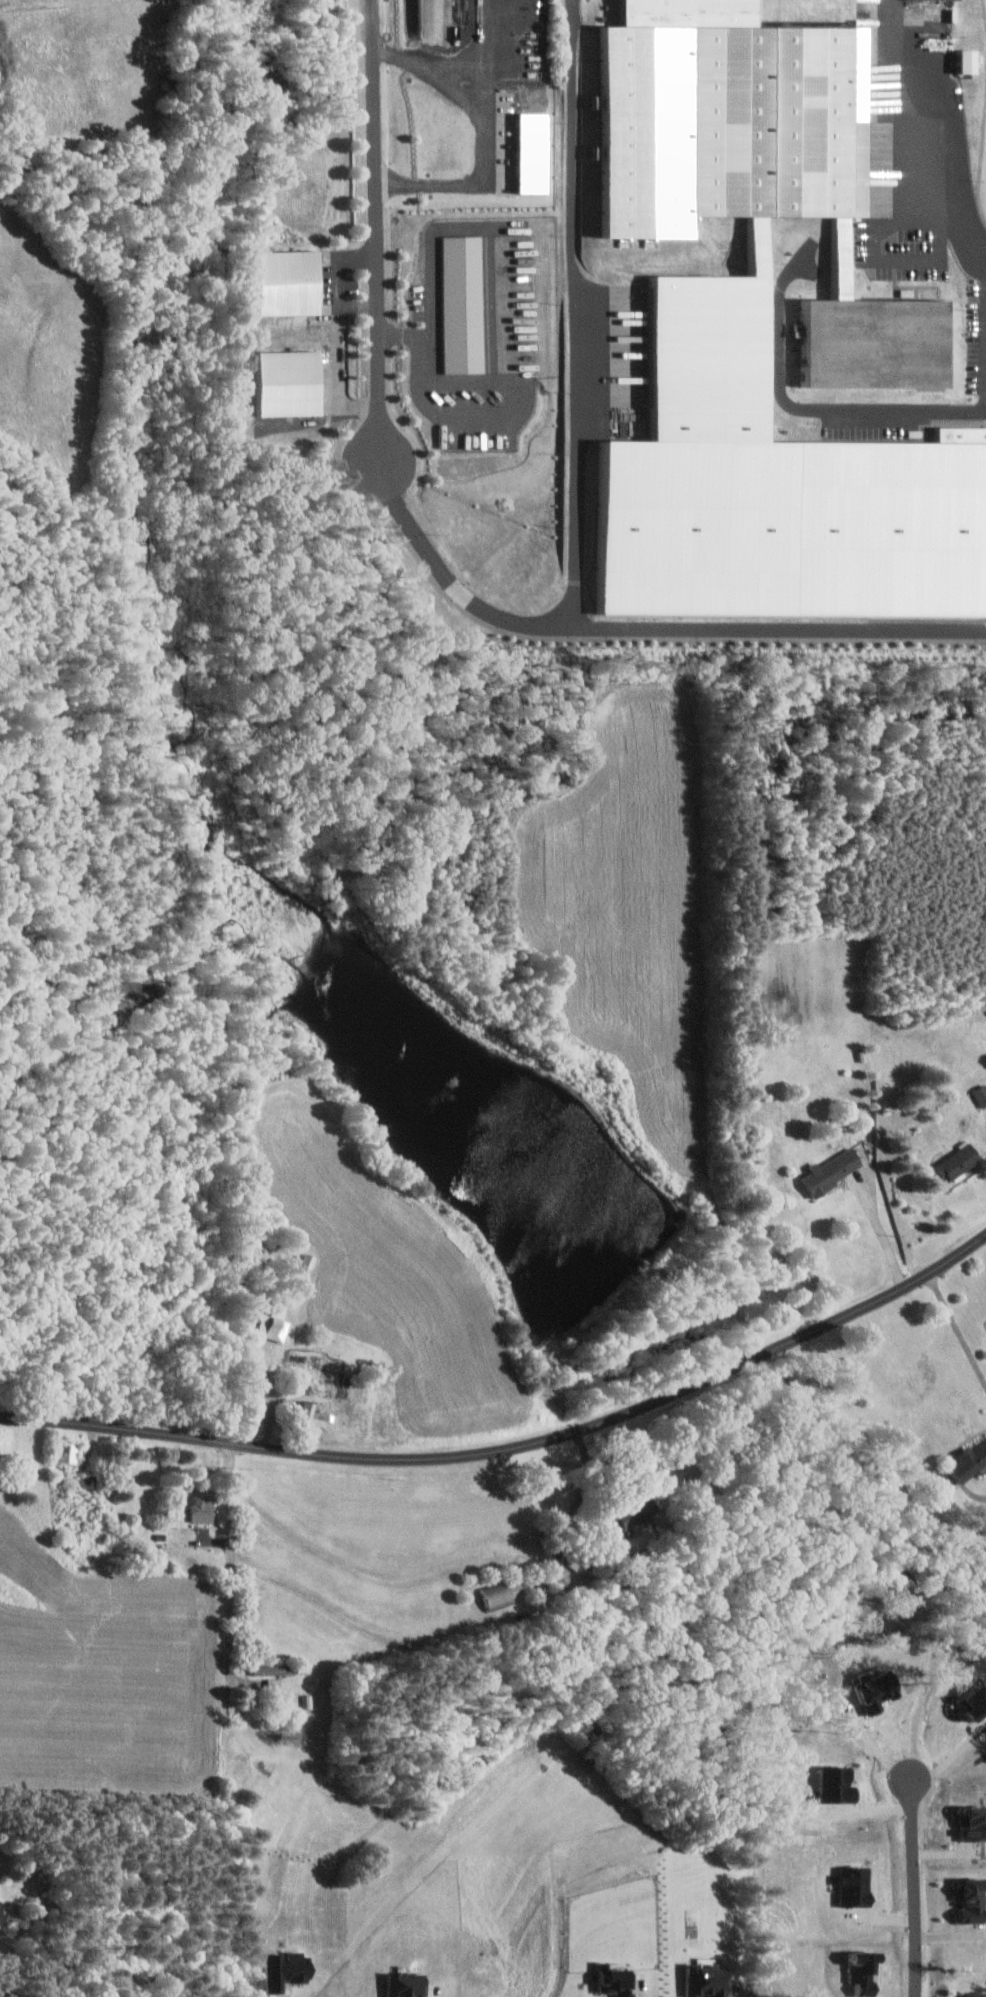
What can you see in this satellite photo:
building: (969, 60)
building: (726, 112)
road: (895, 113)
road: (487, 134)
building: (535, 153)
road: (483, 226)
road: (954, 232)
road: (376, 234)
building: (291, 282)
road: (359, 304)
building: (465, 304)
road: (341, 333)
building: (867, 333)
building: (293, 382)
road: (470, 416)
building: (771, 487)
road: (574, 519)
road: (451, 583)
building: (982, 1095)
building: (961, 1161)
building: (834, 1171)
road: (882, 1234)
road: (957, 1327)
building: (272, 1328)
building: (315, 1416)
road: (515, 1448)
building: (69, 1453)
building: (971, 1463)
building: (204, 1508)
building: (635, 1514)
road: (232, 1563)
building: (496, 1595)
building: (275, 1669)
building: (881, 1693)
building: (976, 1702)
road: (870, 1741)
building: (838, 1784)
building: (974, 1823)
road: (913, 1882)
building: (857, 1886)
building: (2, 1914)
building: (289, 1969)
building: (618, 1981)
building: (711, 1981)
road: (252, 1990)
building: (975, 1994)

